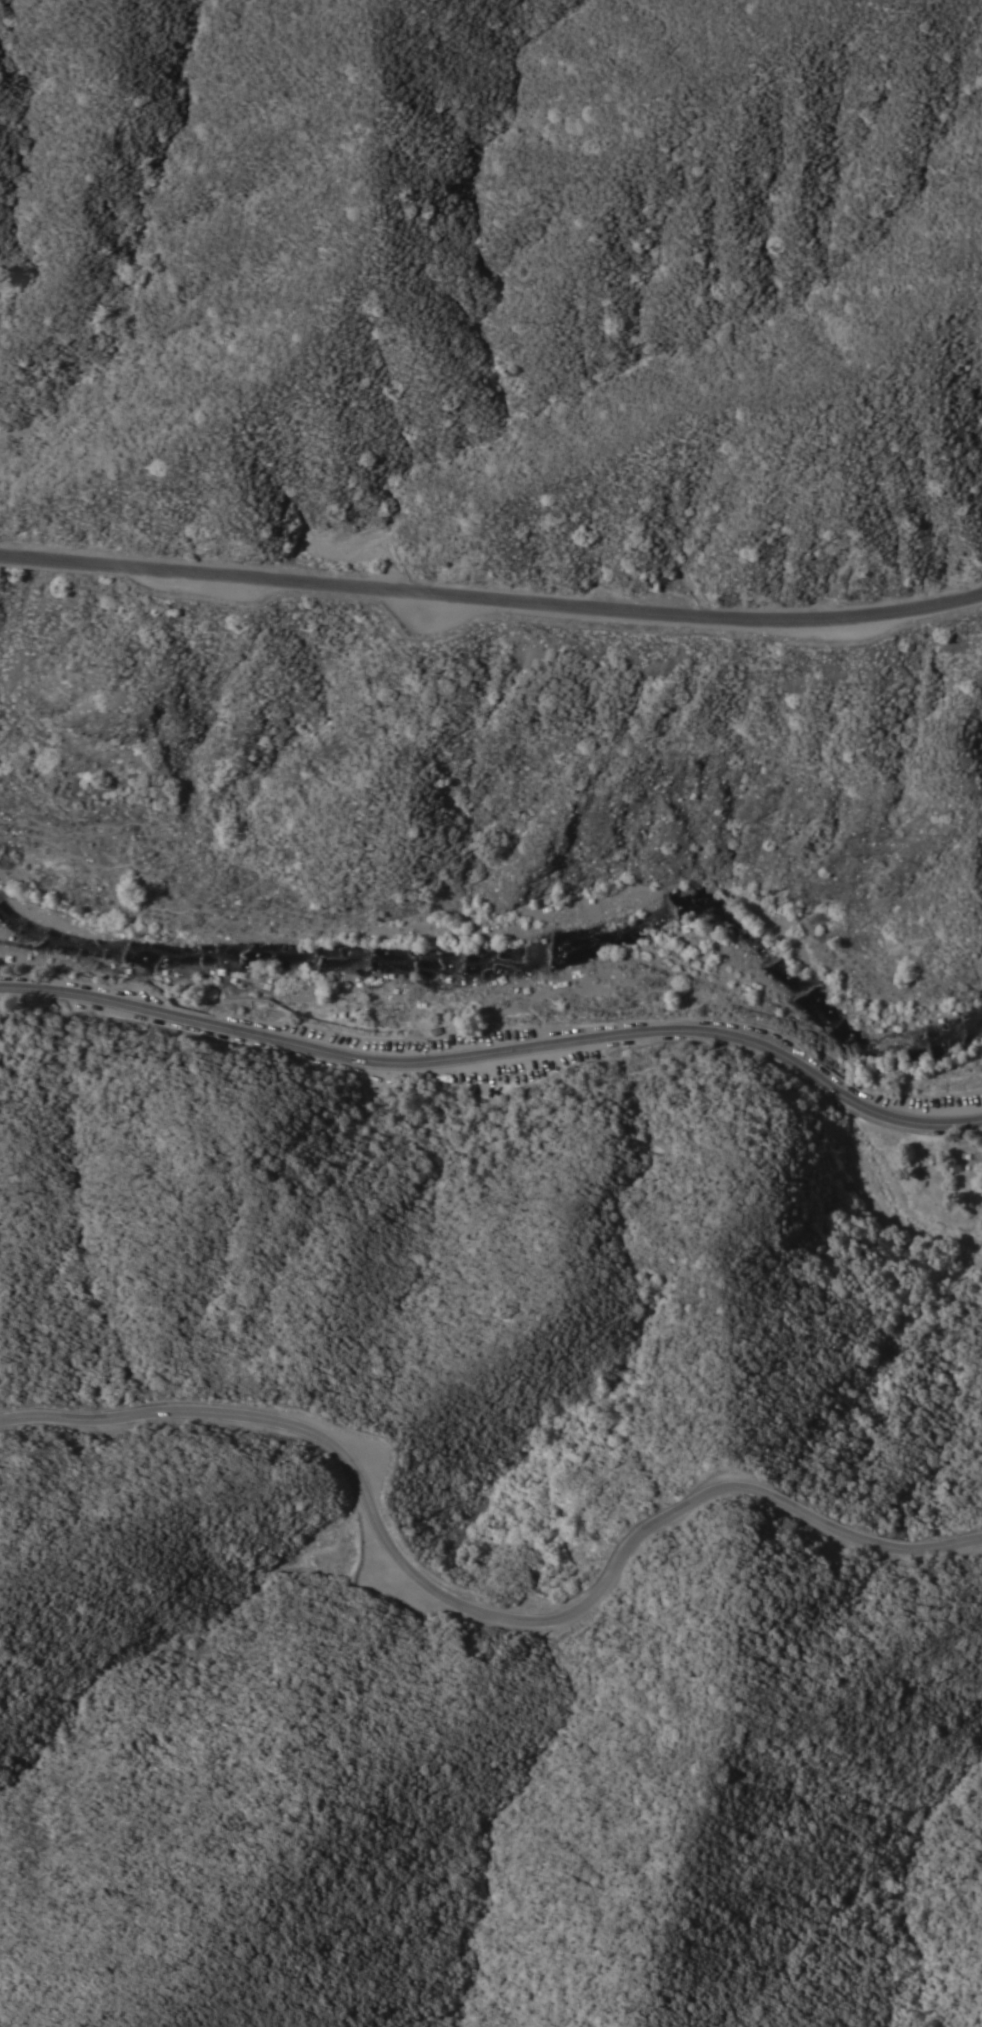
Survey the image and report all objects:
road: (491, 604)
river: (520, 953)
building: (436, 1033)
parking lot: (449, 1060)
road: (412, 1062)
road: (840, 1094)
parking lot: (926, 1104)
road: (921, 1123)
parking lot: (978, 1528)
parking lot: (394, 1573)
road: (477, 1614)

